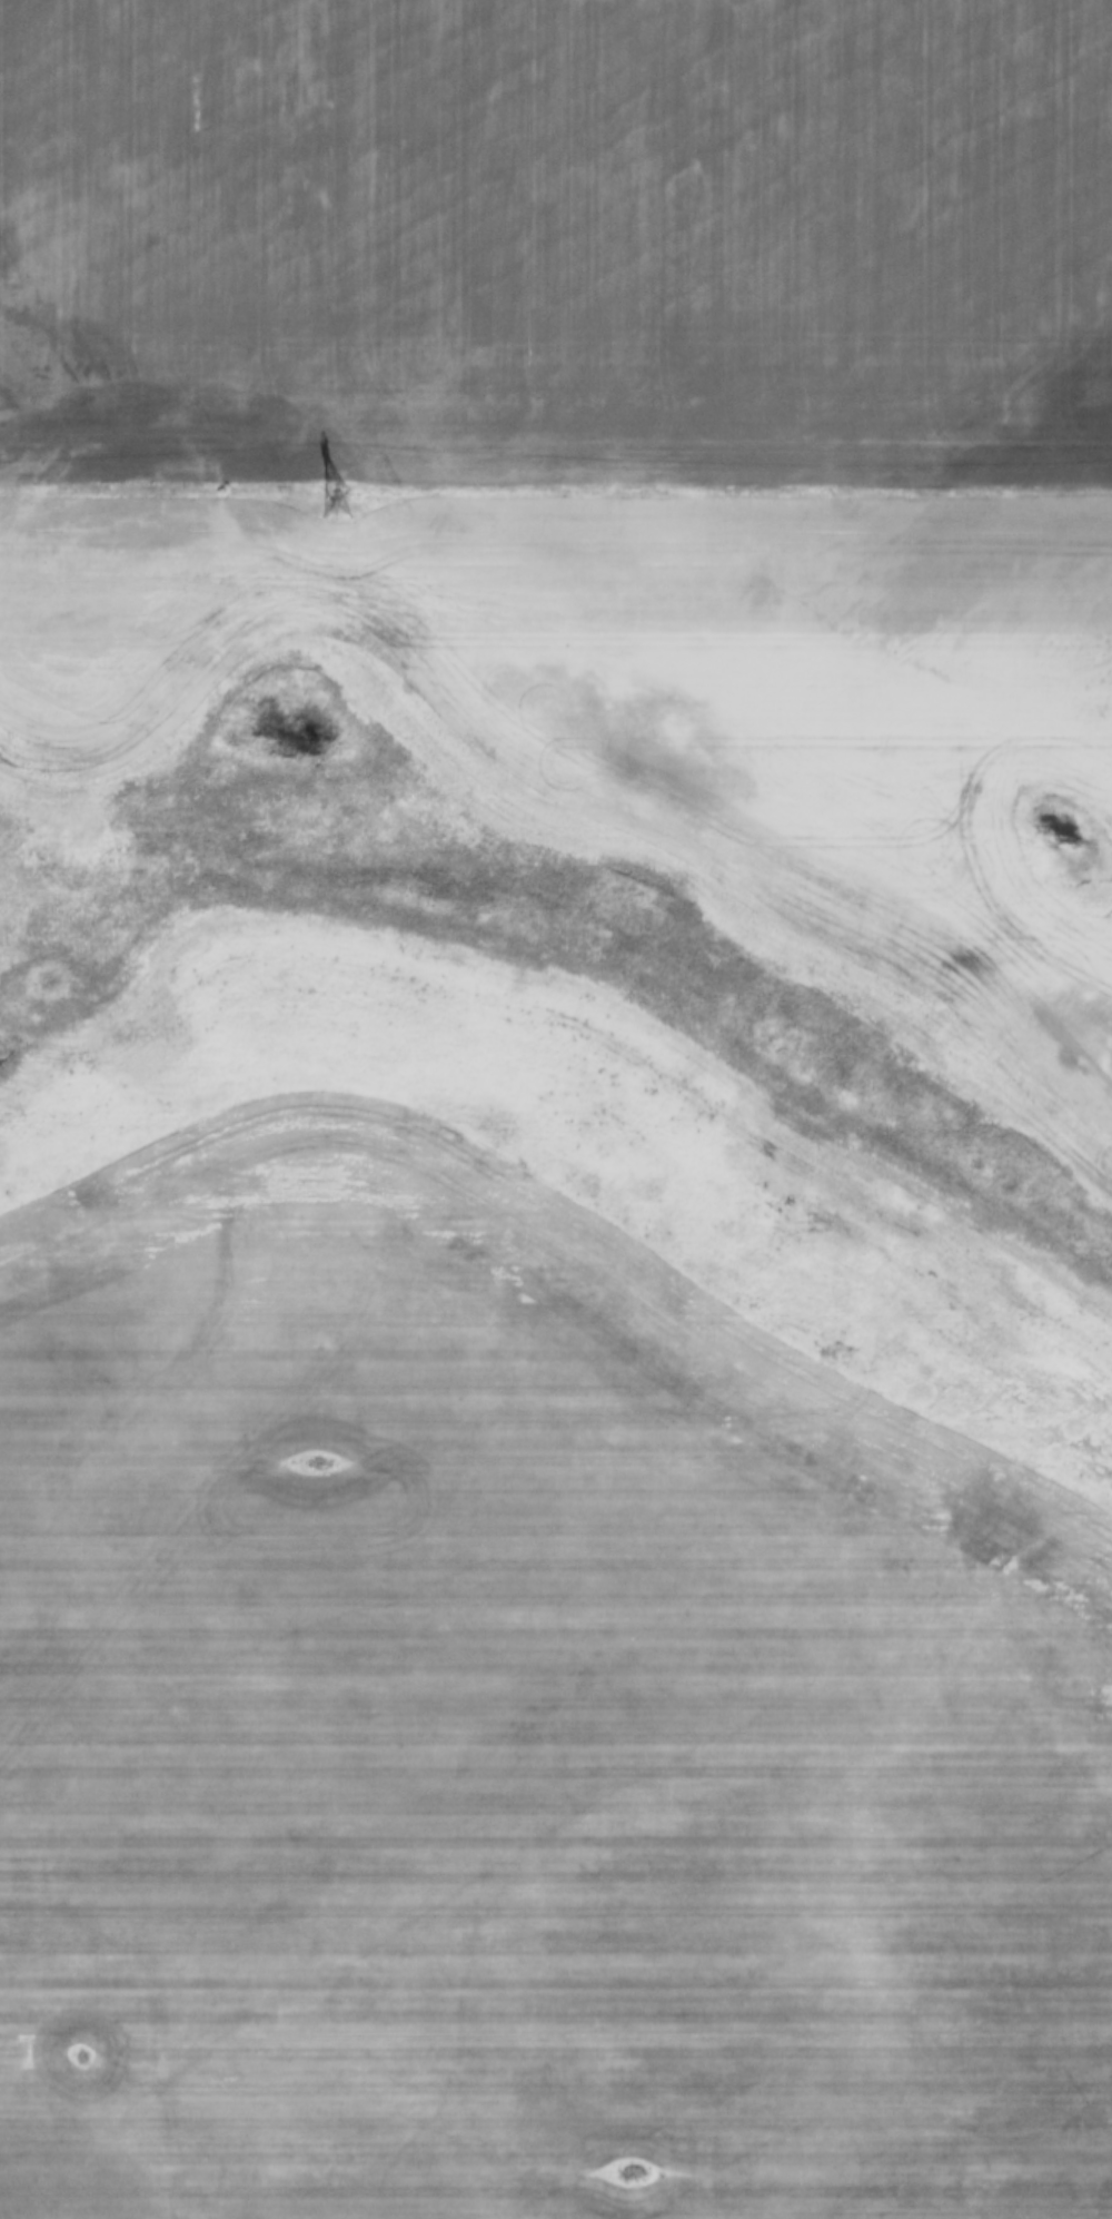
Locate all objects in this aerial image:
power tower: (339, 503)

